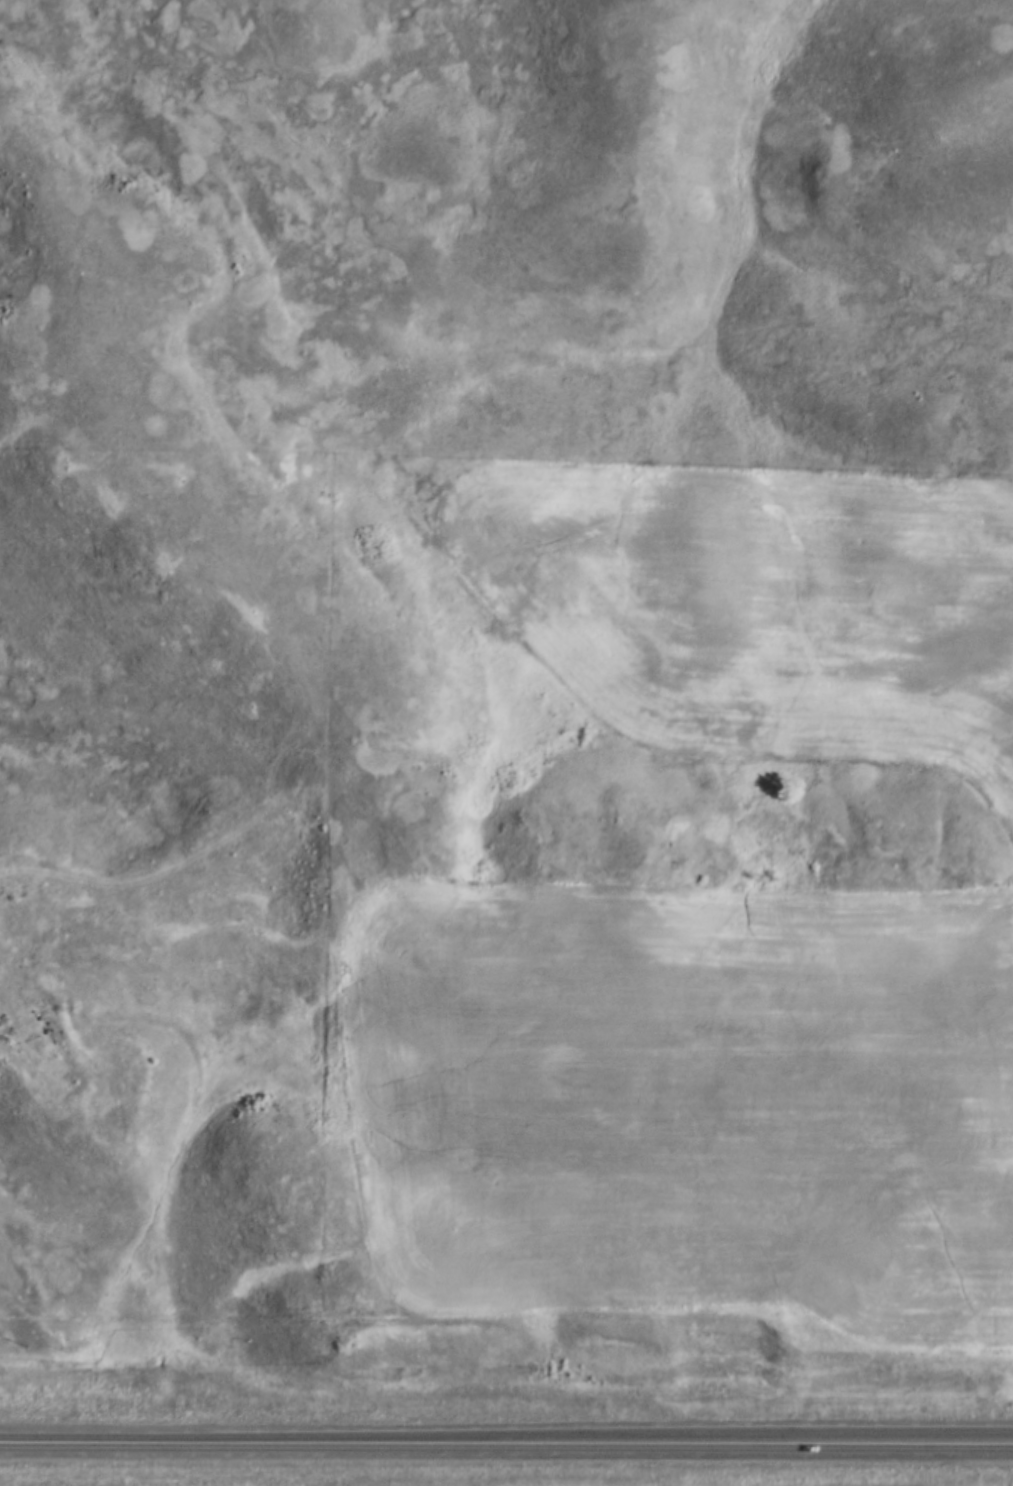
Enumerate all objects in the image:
road: (957, 1450)
road: (450, 1453)

